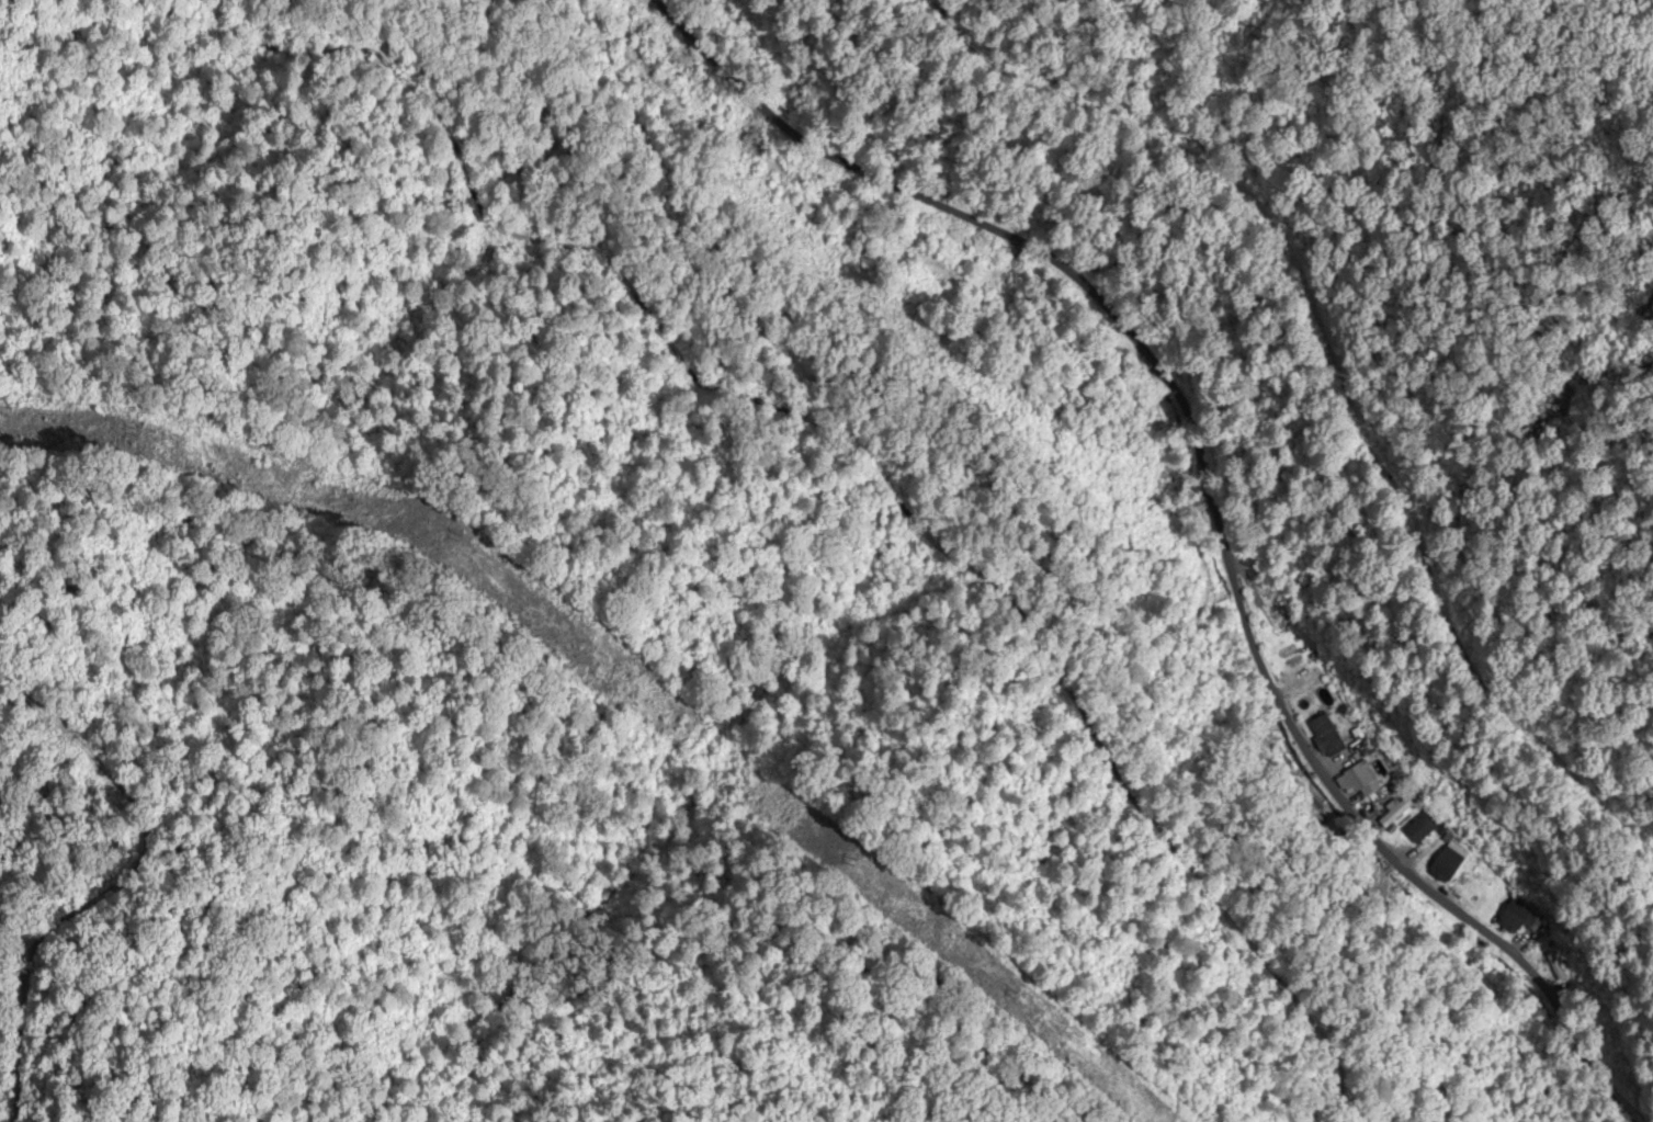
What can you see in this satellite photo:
building: (951, 249)
road: (1205, 488)
building: (1279, 619)
building: (1326, 736)
building: (1360, 780)
building: (1399, 809)
building: (1420, 828)
building: (1448, 865)
building: (1473, 900)
building: (1516, 919)

